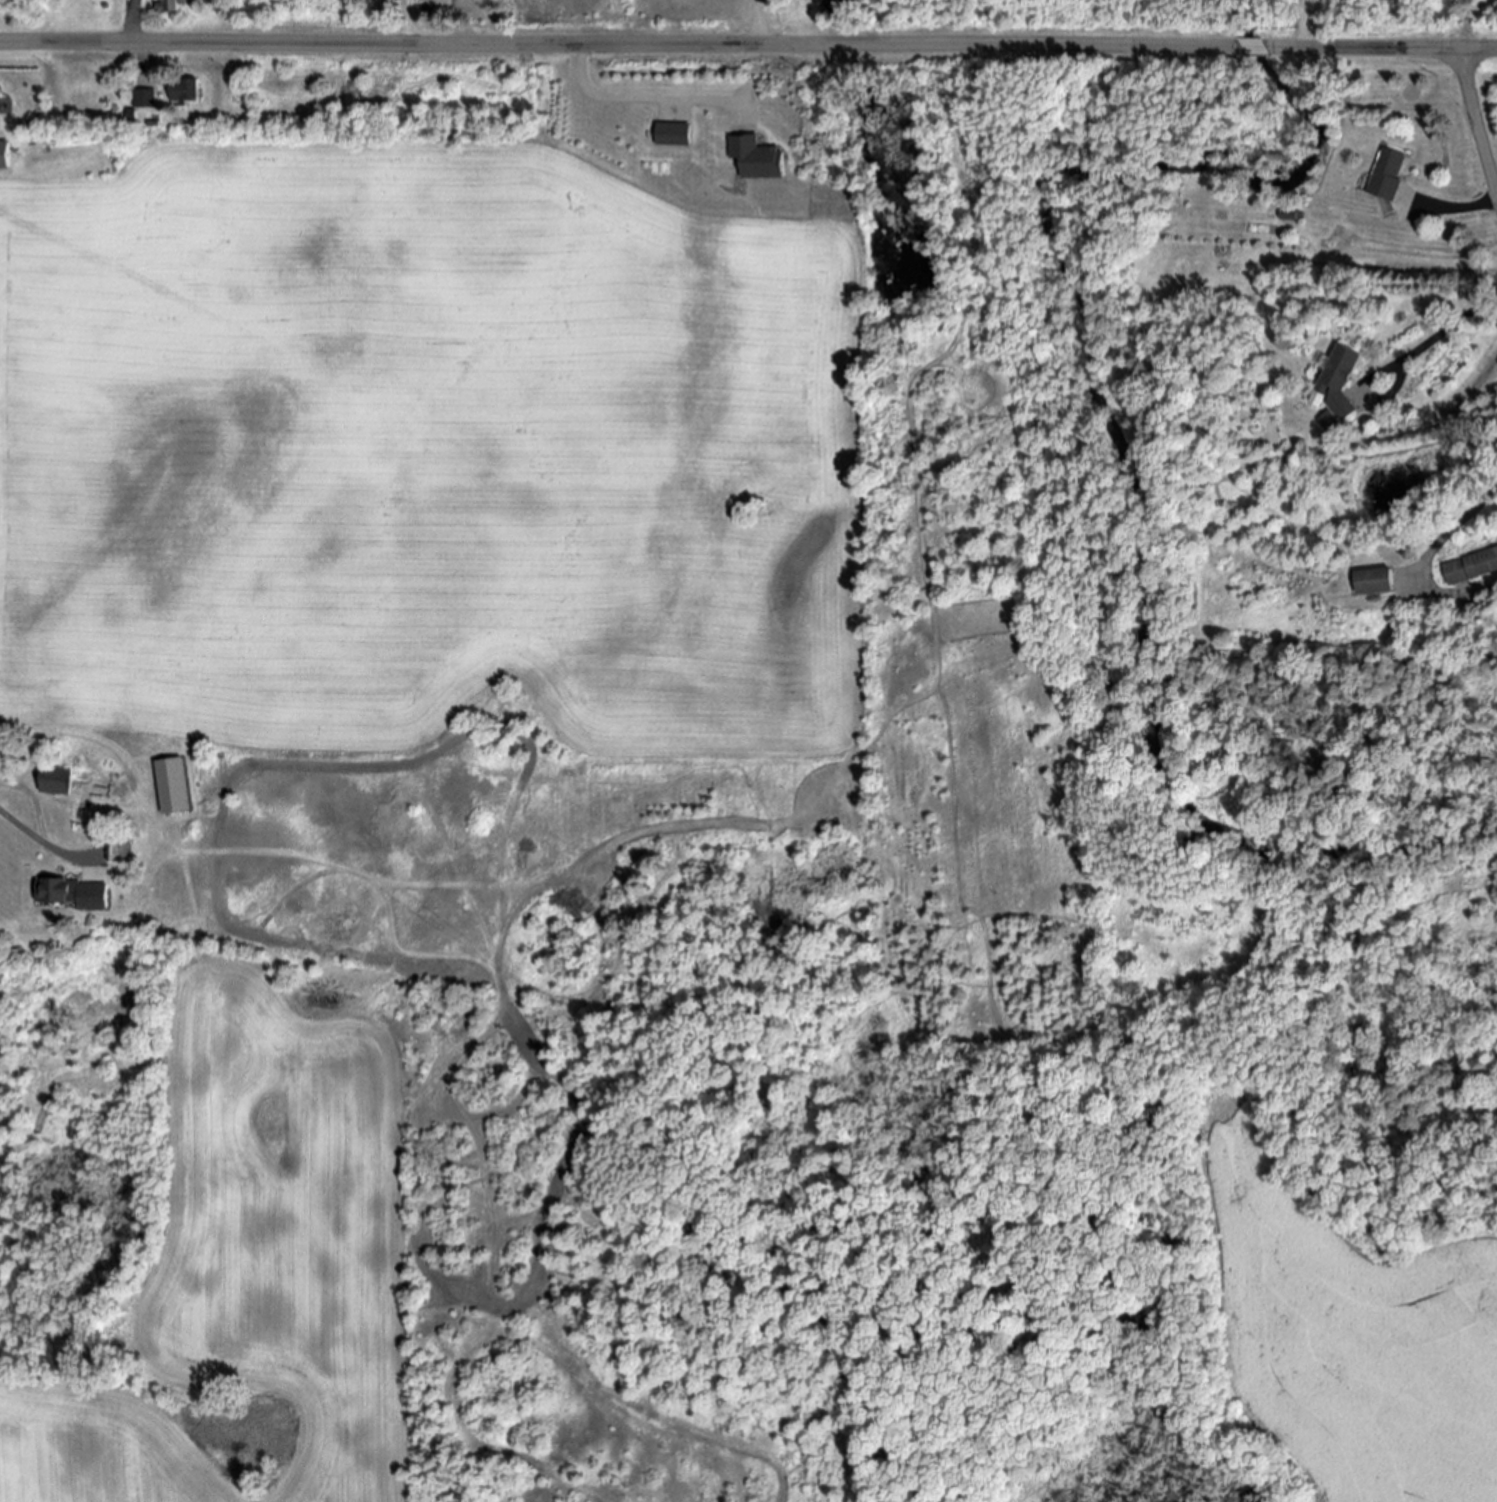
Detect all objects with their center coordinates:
building: (175, 5)
road: (408, 22)
road: (772, 22)
road: (1305, 24)
road: (748, 43)
building: (182, 90)
building: (143, 99)
road: (632, 101)
building: (130, 114)
road: (1474, 129)
building: (670, 135)
building: (4, 154)
building: (754, 159)
building: (1384, 175)
road: (1460, 205)
road: (1439, 335)
building: (1333, 390)
road: (1450, 528)
building: (1471, 566)
building: (1375, 580)
building: (54, 780)
building: (172, 786)
road: (42, 842)
building: (119, 849)
building: (75, 893)

